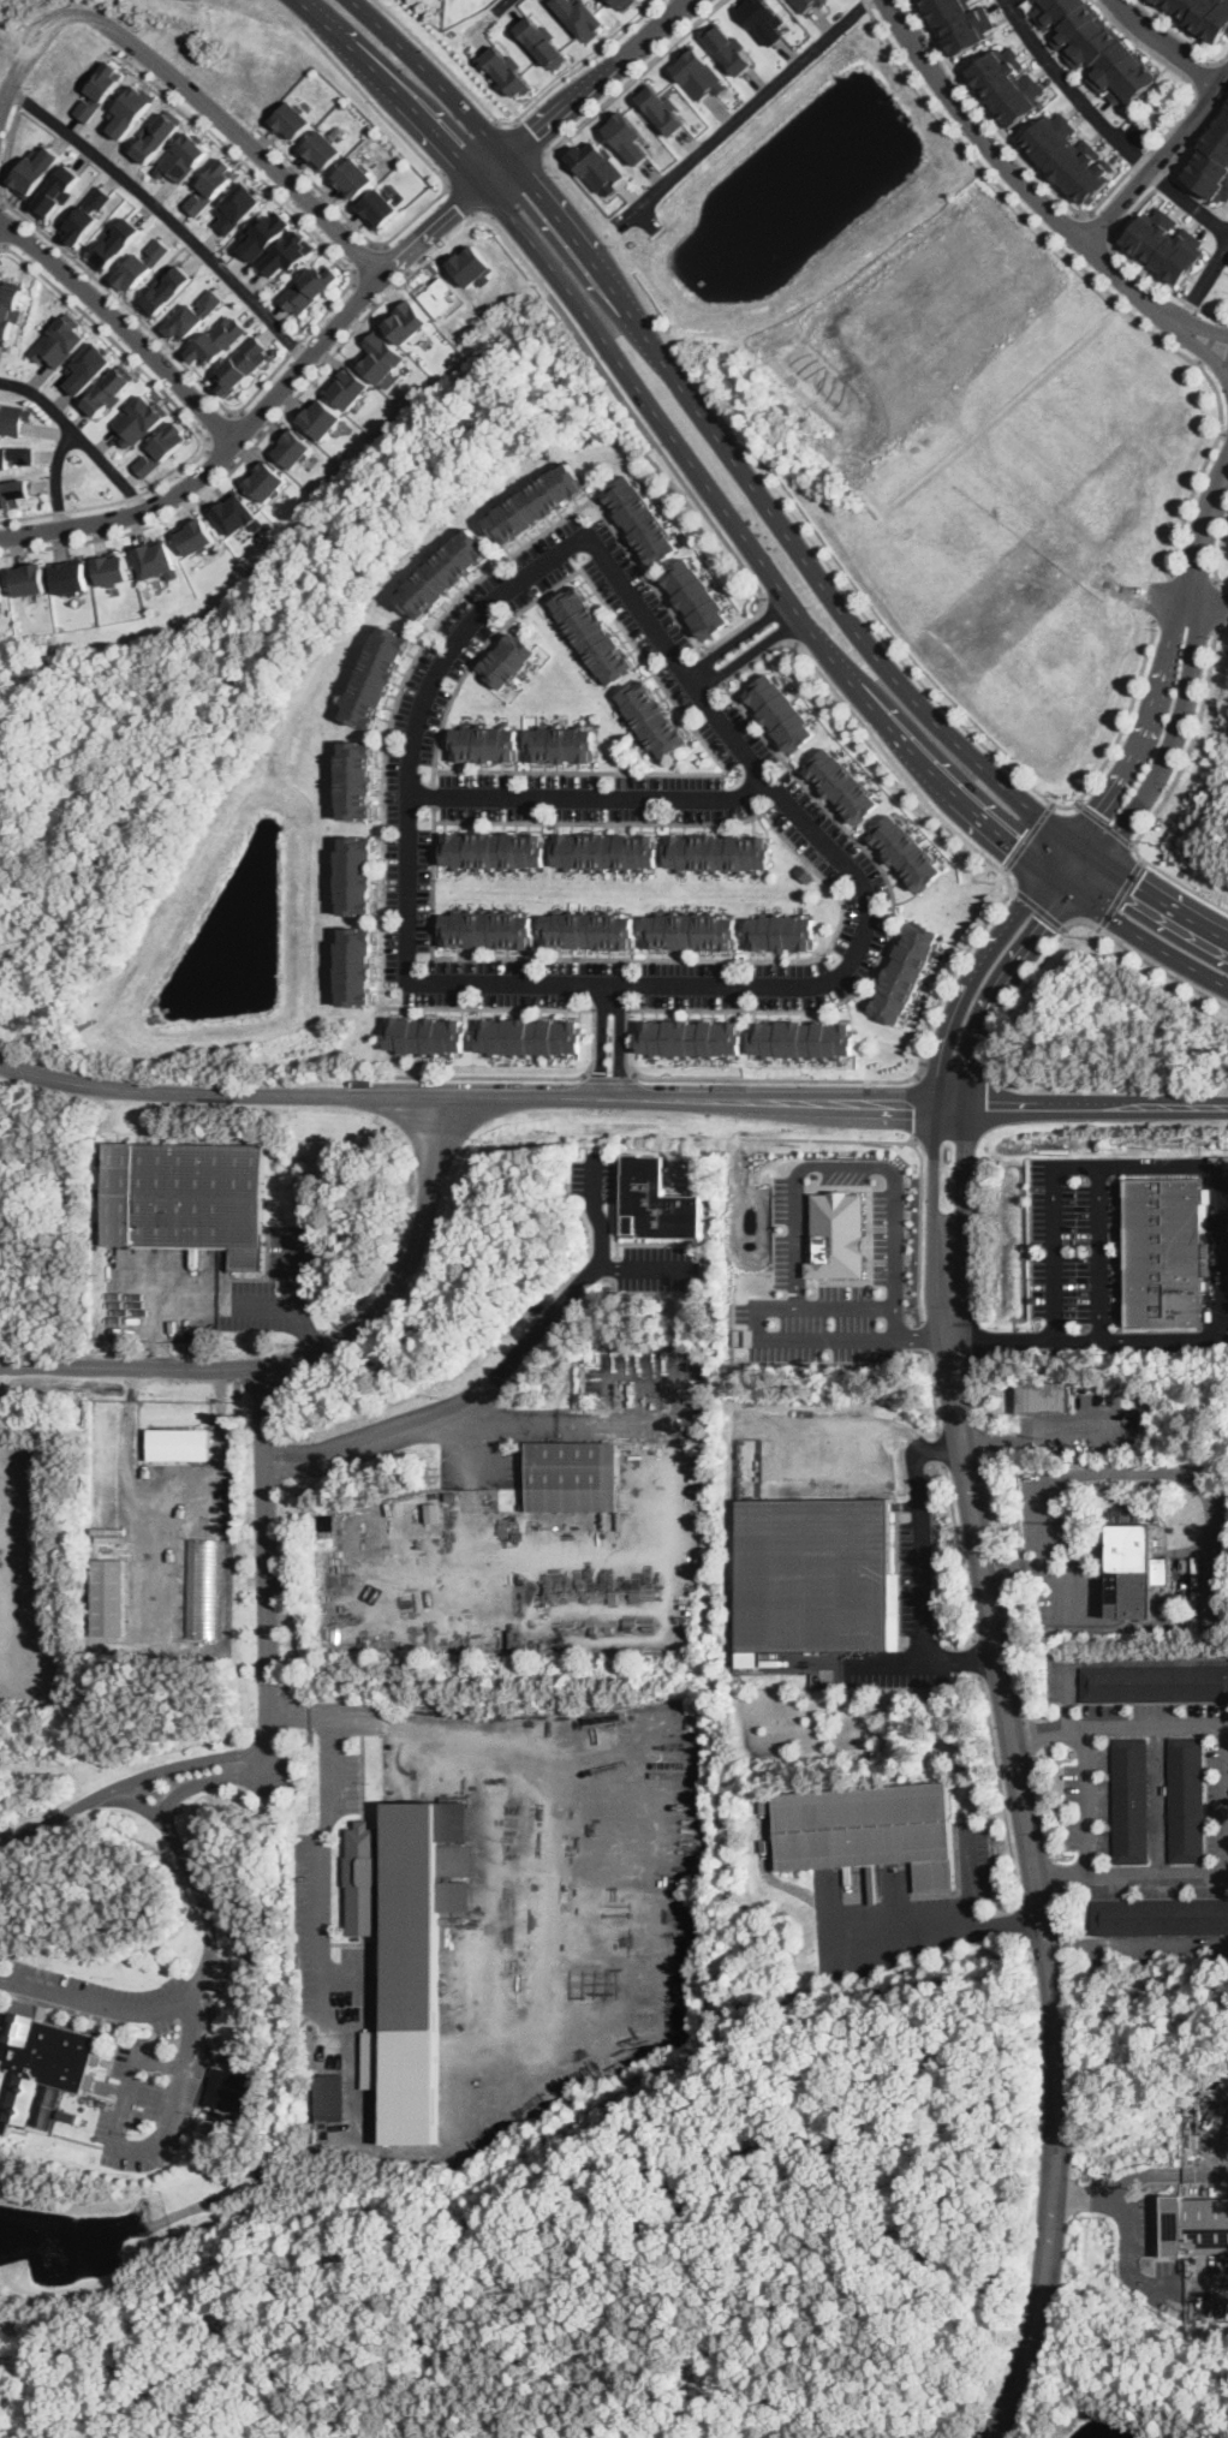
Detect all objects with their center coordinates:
building: (824, 1)
building: (620, 2)
building: (806, 4)
road: (320, 7)
building: (583, 14)
building: (1202, 16)
road: (487, 18)
building: (765, 19)
building: (962, 23)
road: (19, 25)
building: (542, 40)
road: (1164, 43)
building: (1096, 47)
road: (31, 48)
building: (731, 48)
building: (507, 68)
building: (699, 73)
road: (436, 78)
road: (601, 78)
building: (1009, 81)
building: (99, 89)
road: (1073, 89)
road: (412, 95)
road: (1187, 106)
building: (662, 108)
building: (127, 111)
road: (746, 111)
road: (990, 115)
building: (292, 119)
road: (517, 121)
building: (1154, 125)
road: (229, 132)
building: (157, 133)
building: (628, 136)
road: (532, 139)
building: (322, 148)
building: (1072, 155)
building: (181, 157)
road: (1157, 159)
building: (1211, 160)
building: (597, 165)
building: (32, 168)
road: (1017, 175)
building: (354, 178)
building: (211, 184)
road: (447, 187)
building: (55, 190)
road: (1188, 201)
road: (461, 203)
building: (238, 205)
building: (378, 208)
building: (87, 213)
road: (163, 214)
road: (1123, 219)
road: (0, 222)
road: (1099, 228)
building: (267, 237)
building: (114, 243)
building: (1162, 248)
building: (293, 250)
road: (368, 258)
road: (395, 260)
building: (141, 264)
road: (600, 268)
road: (1093, 279)
road: (1203, 280)
building: (310, 287)
building: (165, 288)
building: (10, 305)
building: (193, 315)
building: (407, 321)
road: (123, 327)
road: (1202, 327)
building: (59, 340)
building: (217, 340)
road: (1210, 341)
road: (1202, 347)
building: (383, 356)
building: (244, 363)
building: (88, 366)
road: (269, 377)
building: (351, 385)
building: (111, 388)
road: (279, 388)
road: (643, 393)
building: (13, 417)
building: (139, 418)
building: (322, 418)
road: (190, 419)
road: (252, 422)
road: (221, 429)
road: (649, 431)
road: (1224, 433)
road: (79, 436)
building: (162, 447)
building: (293, 447)
building: (14, 453)
road: (246, 455)
road: (1226, 464)
road: (1226, 472)
road: (59, 477)
building: (267, 481)
road: (752, 484)
building: (12, 490)
road: (780, 496)
building: (537, 501)
building: (238, 513)
building: (644, 518)
building: (198, 535)
road: (1203, 538)
road: (1218, 550)
building: (156, 558)
building: (112, 568)
building: (449, 573)
building: (71, 576)
building: (29, 578)
building: (0, 595)
building: (698, 595)
road: (1163, 597)
road: (1214, 608)
road: (777, 622)
building: (594, 633)
road: (740, 646)
building: (511, 660)
building: (375, 674)
building: (781, 710)
road: (389, 717)
building: (652, 720)
road: (936, 722)
road: (1141, 728)
road: (872, 737)
road: (1172, 739)
building: (487, 743)
building: (561, 743)
road: (910, 749)
building: (352, 777)
building: (842, 785)
road: (1166, 794)
road: (589, 795)
traffic signals: (1095, 809)
road: (1103, 824)
road: (1026, 836)
traffic signals: (1013, 846)
road: (1083, 848)
building: (493, 850)
building: (607, 850)
building: (717, 852)
building: (907, 852)
road: (839, 860)
building: (805, 871)
building: (356, 875)
traffic signals: (1133, 884)
road: (1117, 892)
road: (1161, 902)
road: (1038, 908)
traffic signals: (1047, 925)
building: (485, 926)
building: (586, 929)
building: (688, 929)
building: (781, 934)
road: (1133, 934)
road: (1145, 960)
road: (980, 964)
building: (352, 965)
building: (907, 970)
road: (1012, 973)
road: (1014, 1003)
building: (427, 1035)
building: (688, 1037)
building: (529, 1038)
building: (805, 1039)
road: (610, 1041)
road: (519, 1075)
road: (609, 1075)
road: (847, 1080)
road: (464, 1099)
road: (917, 1104)
road: (1079, 1107)
road: (912, 1138)
road: (916, 1146)
road: (964, 1180)
road: (931, 1181)
building: (186, 1197)
building: (656, 1200)
building: (837, 1235)
road: (794, 1241)
road: (1053, 1250)
road: (1098, 1250)
road: (601, 1252)
building: (1163, 1253)
building: (126, 1256)
road: (292, 1268)
road: (193, 1303)
road: (1223, 1303)
road: (845, 1305)
road: (306, 1328)
road: (923, 1336)
road: (530, 1339)
road: (308, 1353)
road: (646, 1377)
road: (932, 1391)
building: (1043, 1397)
road: (415, 1430)
road: (1038, 1437)
building: (179, 1444)
building: (643, 1447)
road: (942, 1448)
building: (573, 1477)
road: (169, 1492)
building: (452, 1495)
building: (524, 1504)
road: (1210, 1509)
building: (434, 1510)
building: (1126, 1515)
road: (960, 1551)
road: (163, 1554)
road: (1037, 1562)
building: (1134, 1572)
building: (812, 1573)
road: (919, 1573)
building: (109, 1596)
building: (1222, 1598)
road: (267, 1607)
road: (999, 1646)
road: (978, 1658)
road: (1117, 1659)
road: (883, 1661)
building: (1155, 1683)
road: (1121, 1722)
road: (1000, 1789)
road: (1087, 1798)
road: (1161, 1798)
road: (174, 1799)
building: (1132, 1800)
building: (1187, 1800)
building: (870, 1828)
road: (1134, 1873)
road: (970, 1877)
building: (360, 1879)
building: (413, 1913)
building: (1161, 1917)
road: (1021, 1919)
road: (934, 1931)
road: (1131, 1943)
road: (1029, 1955)
road: (533, 2041)
building: (227, 2057)
building: (35, 2063)
building: (234, 2092)
building: (333, 2097)
road: (1057, 2106)
building: (1194, 2224)
road: (1129, 2231)
road: (1042, 2309)

